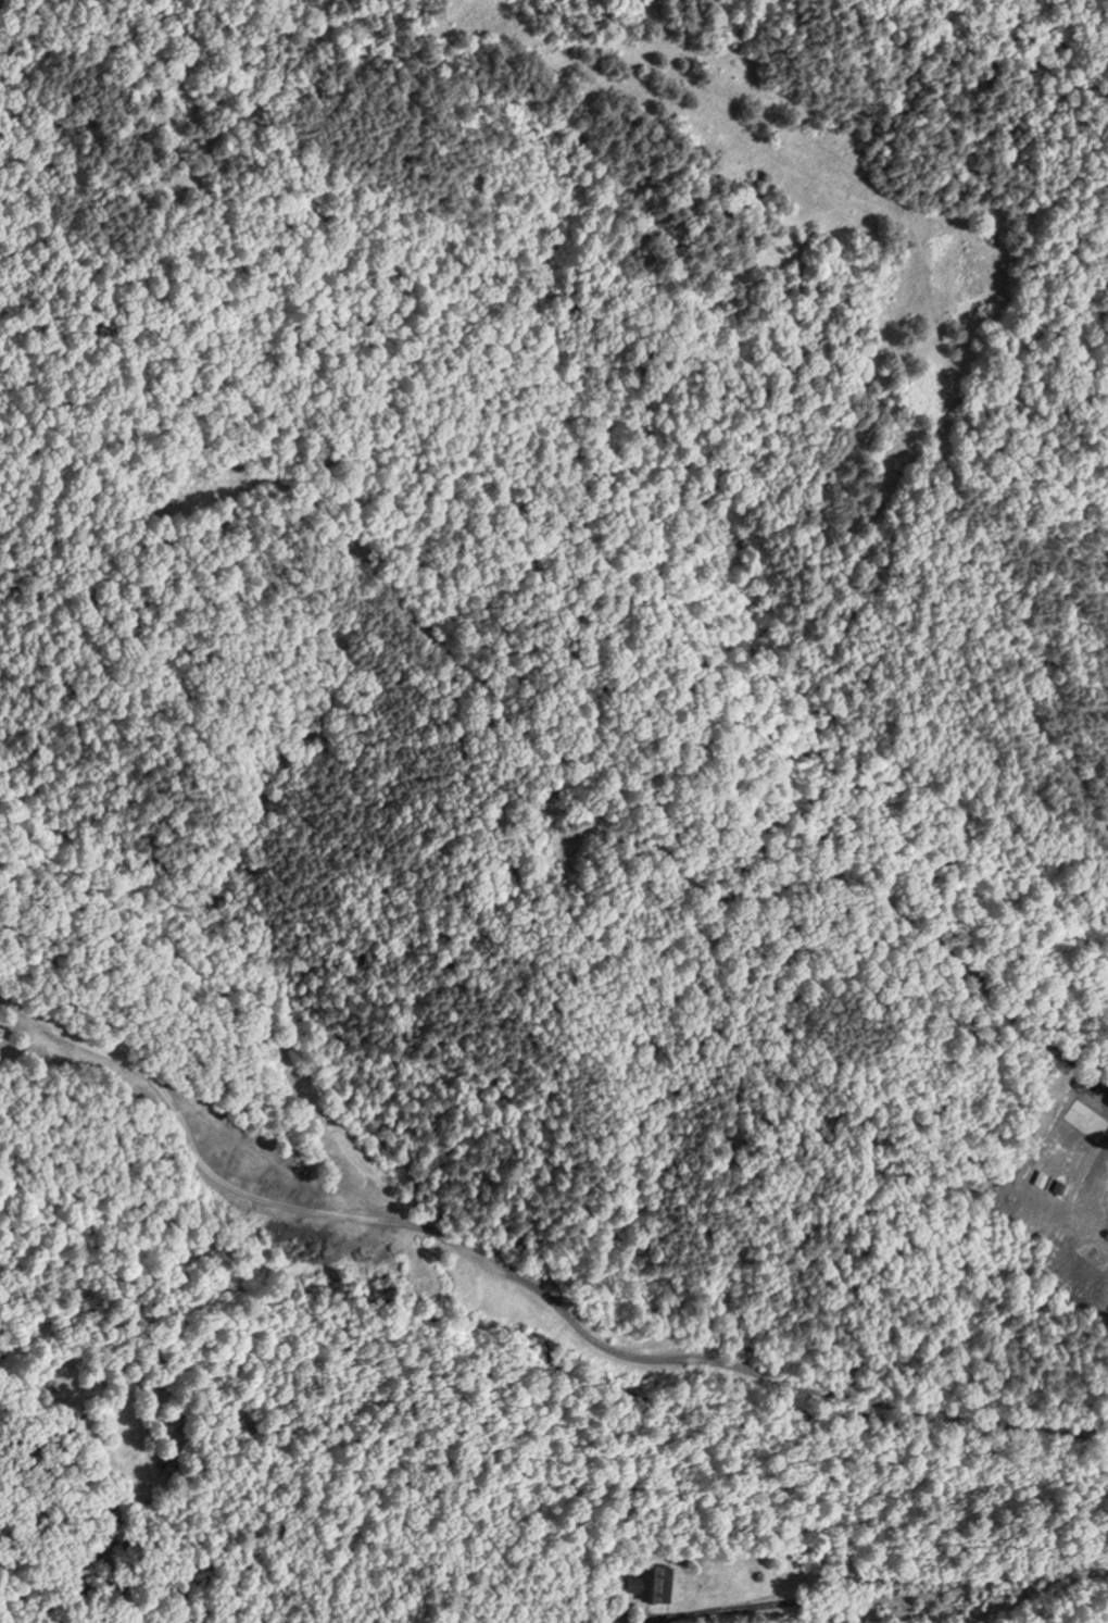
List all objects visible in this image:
road: (634, 826)
road: (524, 1285)
building: (647, 1580)
road: (883, 1594)

